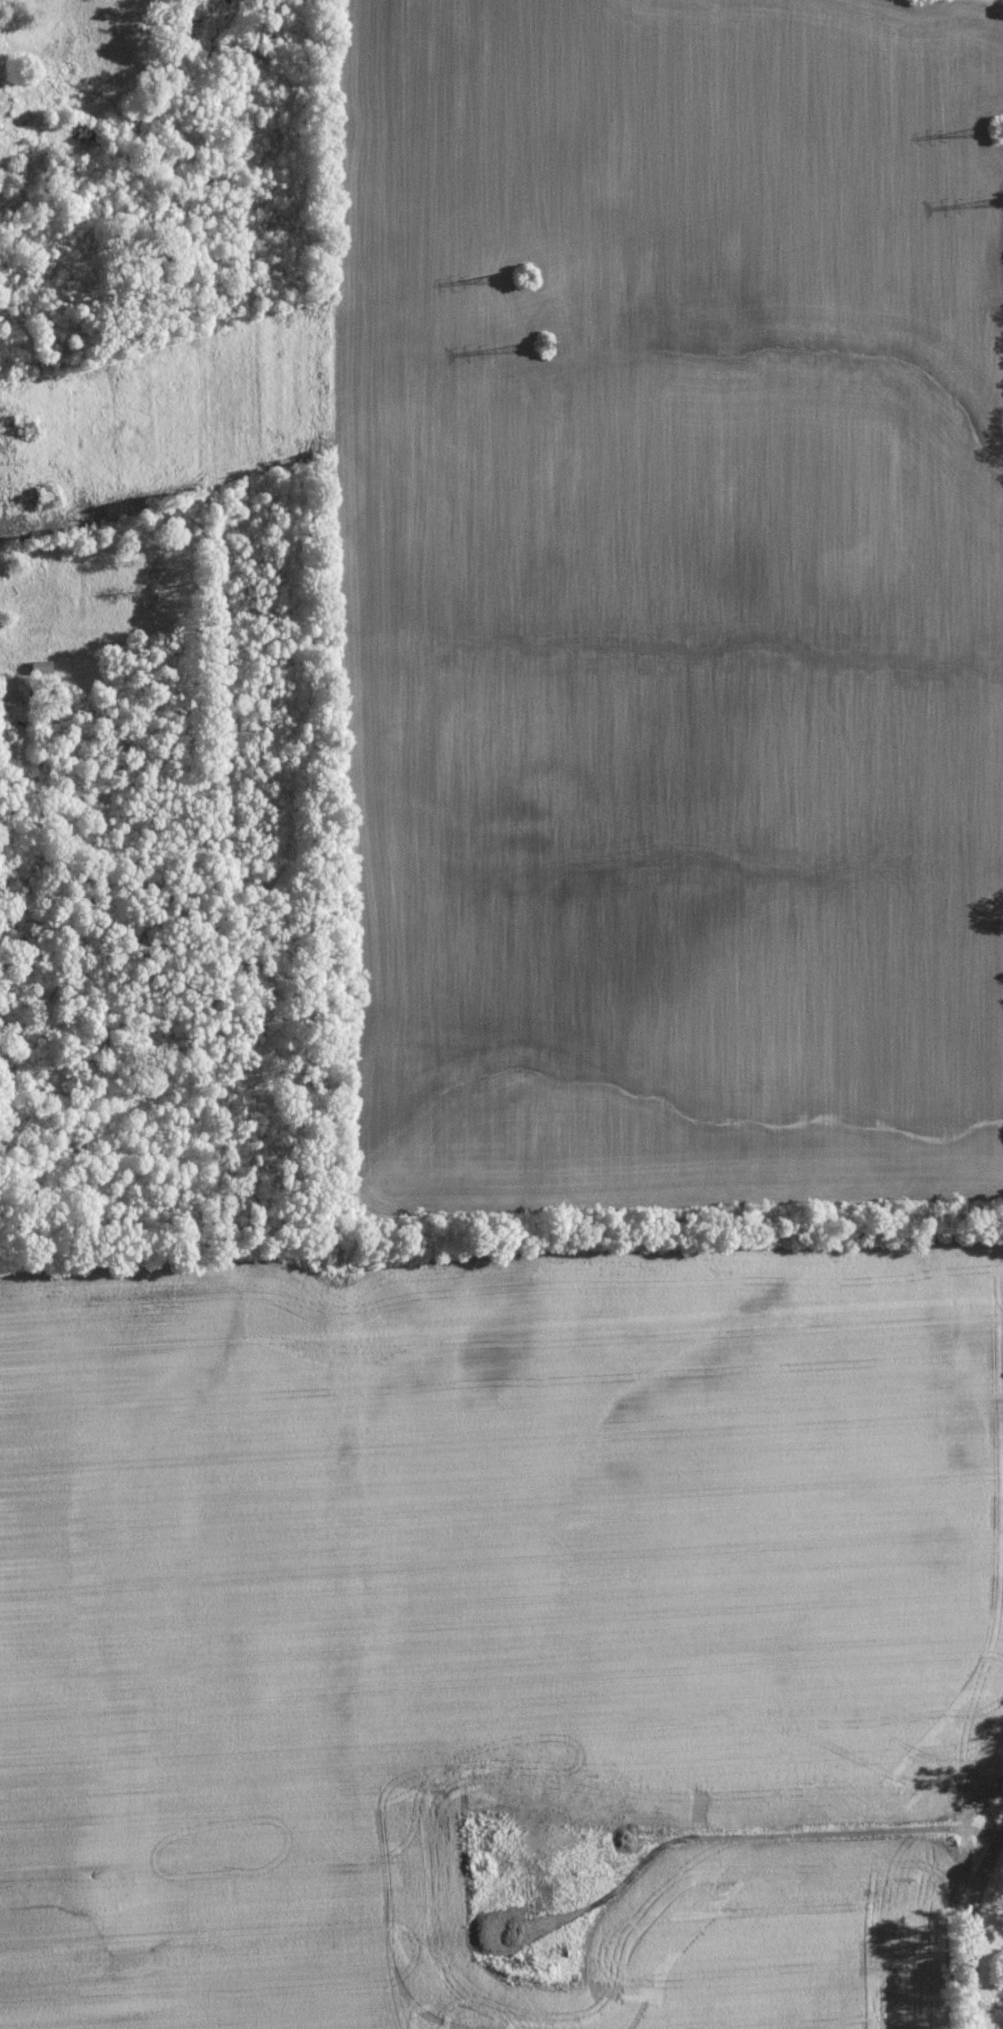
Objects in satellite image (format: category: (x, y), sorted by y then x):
power tower: (1001, 128)
power tower: (521, 275)
power tower: (546, 345)
power tower: (25, 428)
power tower: (44, 498)
building: (41, 667)
crop: (471, 1611)
road: (971, 1831)
road: (970, 1929)

